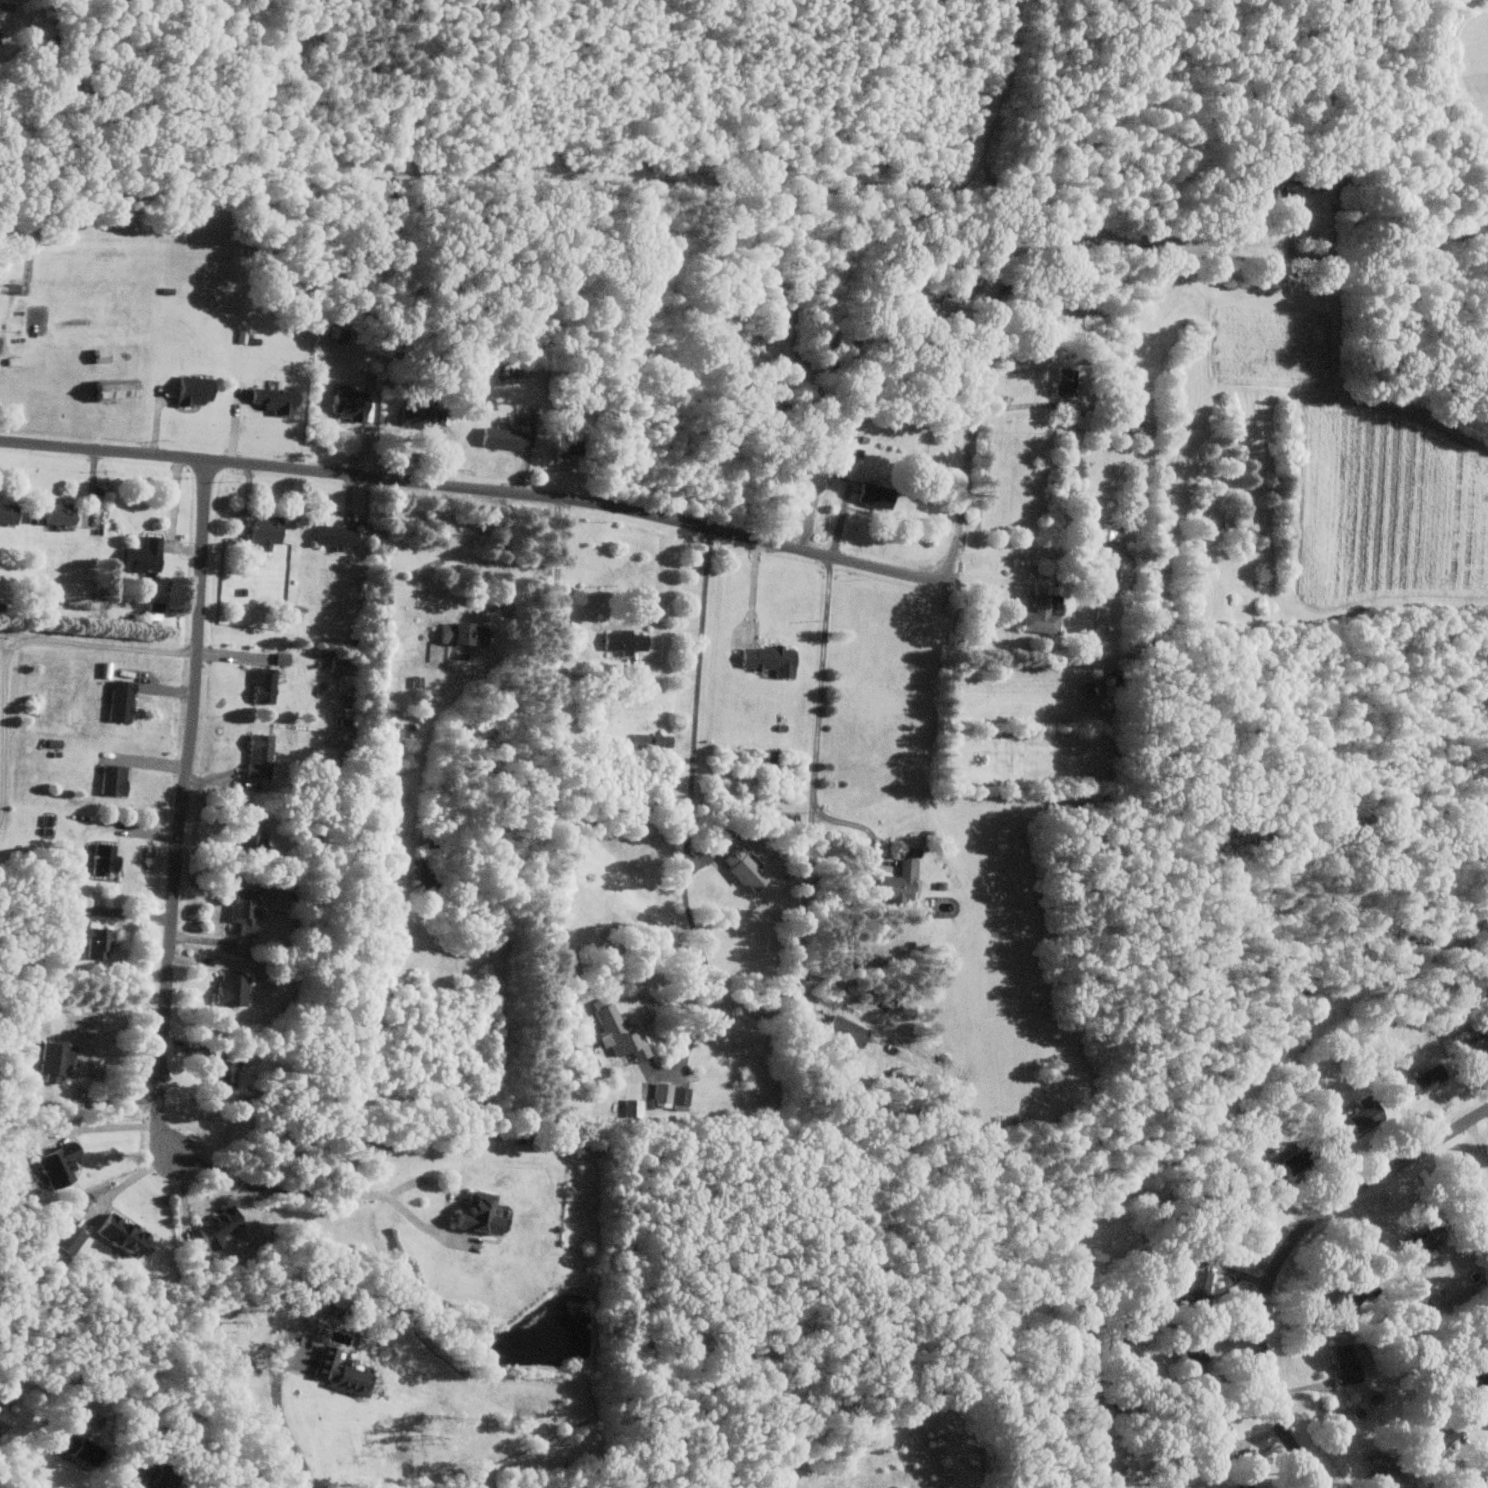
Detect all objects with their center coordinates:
building: (0, 18)
building: (950, 306)
building: (1068, 382)
building: (120, 389)
building: (198, 390)
building: (278, 400)
building: (353, 404)
building: (426, 416)
building: (506, 438)
building: (814, 480)
building: (880, 496)
building: (10, 514)
building: (61, 514)
building: (268, 531)
building: (1109, 532)
building: (339, 536)
road: (769, 542)
building: (148, 555)
road: (509, 557)
building: (1126, 576)
road: (1001, 578)
road: (755, 593)
building: (1045, 615)
road: (556, 622)
road: (18, 632)
building: (467, 634)
building: (628, 641)
road: (117, 646)
building: (774, 660)
building: (342, 664)
building: (267, 685)
building: (124, 700)
road: (6, 720)
building: (262, 754)
road: (815, 778)
building: (117, 779)
road: (186, 806)
road: (689, 818)
building: (254, 834)
road: (876, 851)
building: (108, 858)
building: (748, 868)
building: (430, 872)
building: (902, 881)
building: (247, 908)
building: (99, 941)
building: (236, 988)
building: (851, 1030)
building: (623, 1033)
building: (1477, 1047)
building: (58, 1060)
building: (227, 1072)
building: (1428, 1077)
building: (674, 1092)
building: (1366, 1111)
road: (111, 1128)
building: (1296, 1159)
building: (62, 1164)
road: (132, 1185)
road: (362, 1194)
building: (1486, 1197)
building: (222, 1227)
building: (127, 1235)
building: (70, 1239)
road: (1285, 1256)
building: (1198, 1283)
building: (1347, 1364)
building: (340, 1367)
building: (1478, 1379)
building: (3, 1421)
road: (286, 1425)
building: (81, 1448)
road: (43, 1458)
building: (1386, 1466)
building: (160, 1478)
road: (1482, 1483)
building: (1249, 1485)
road: (132, 1487)

